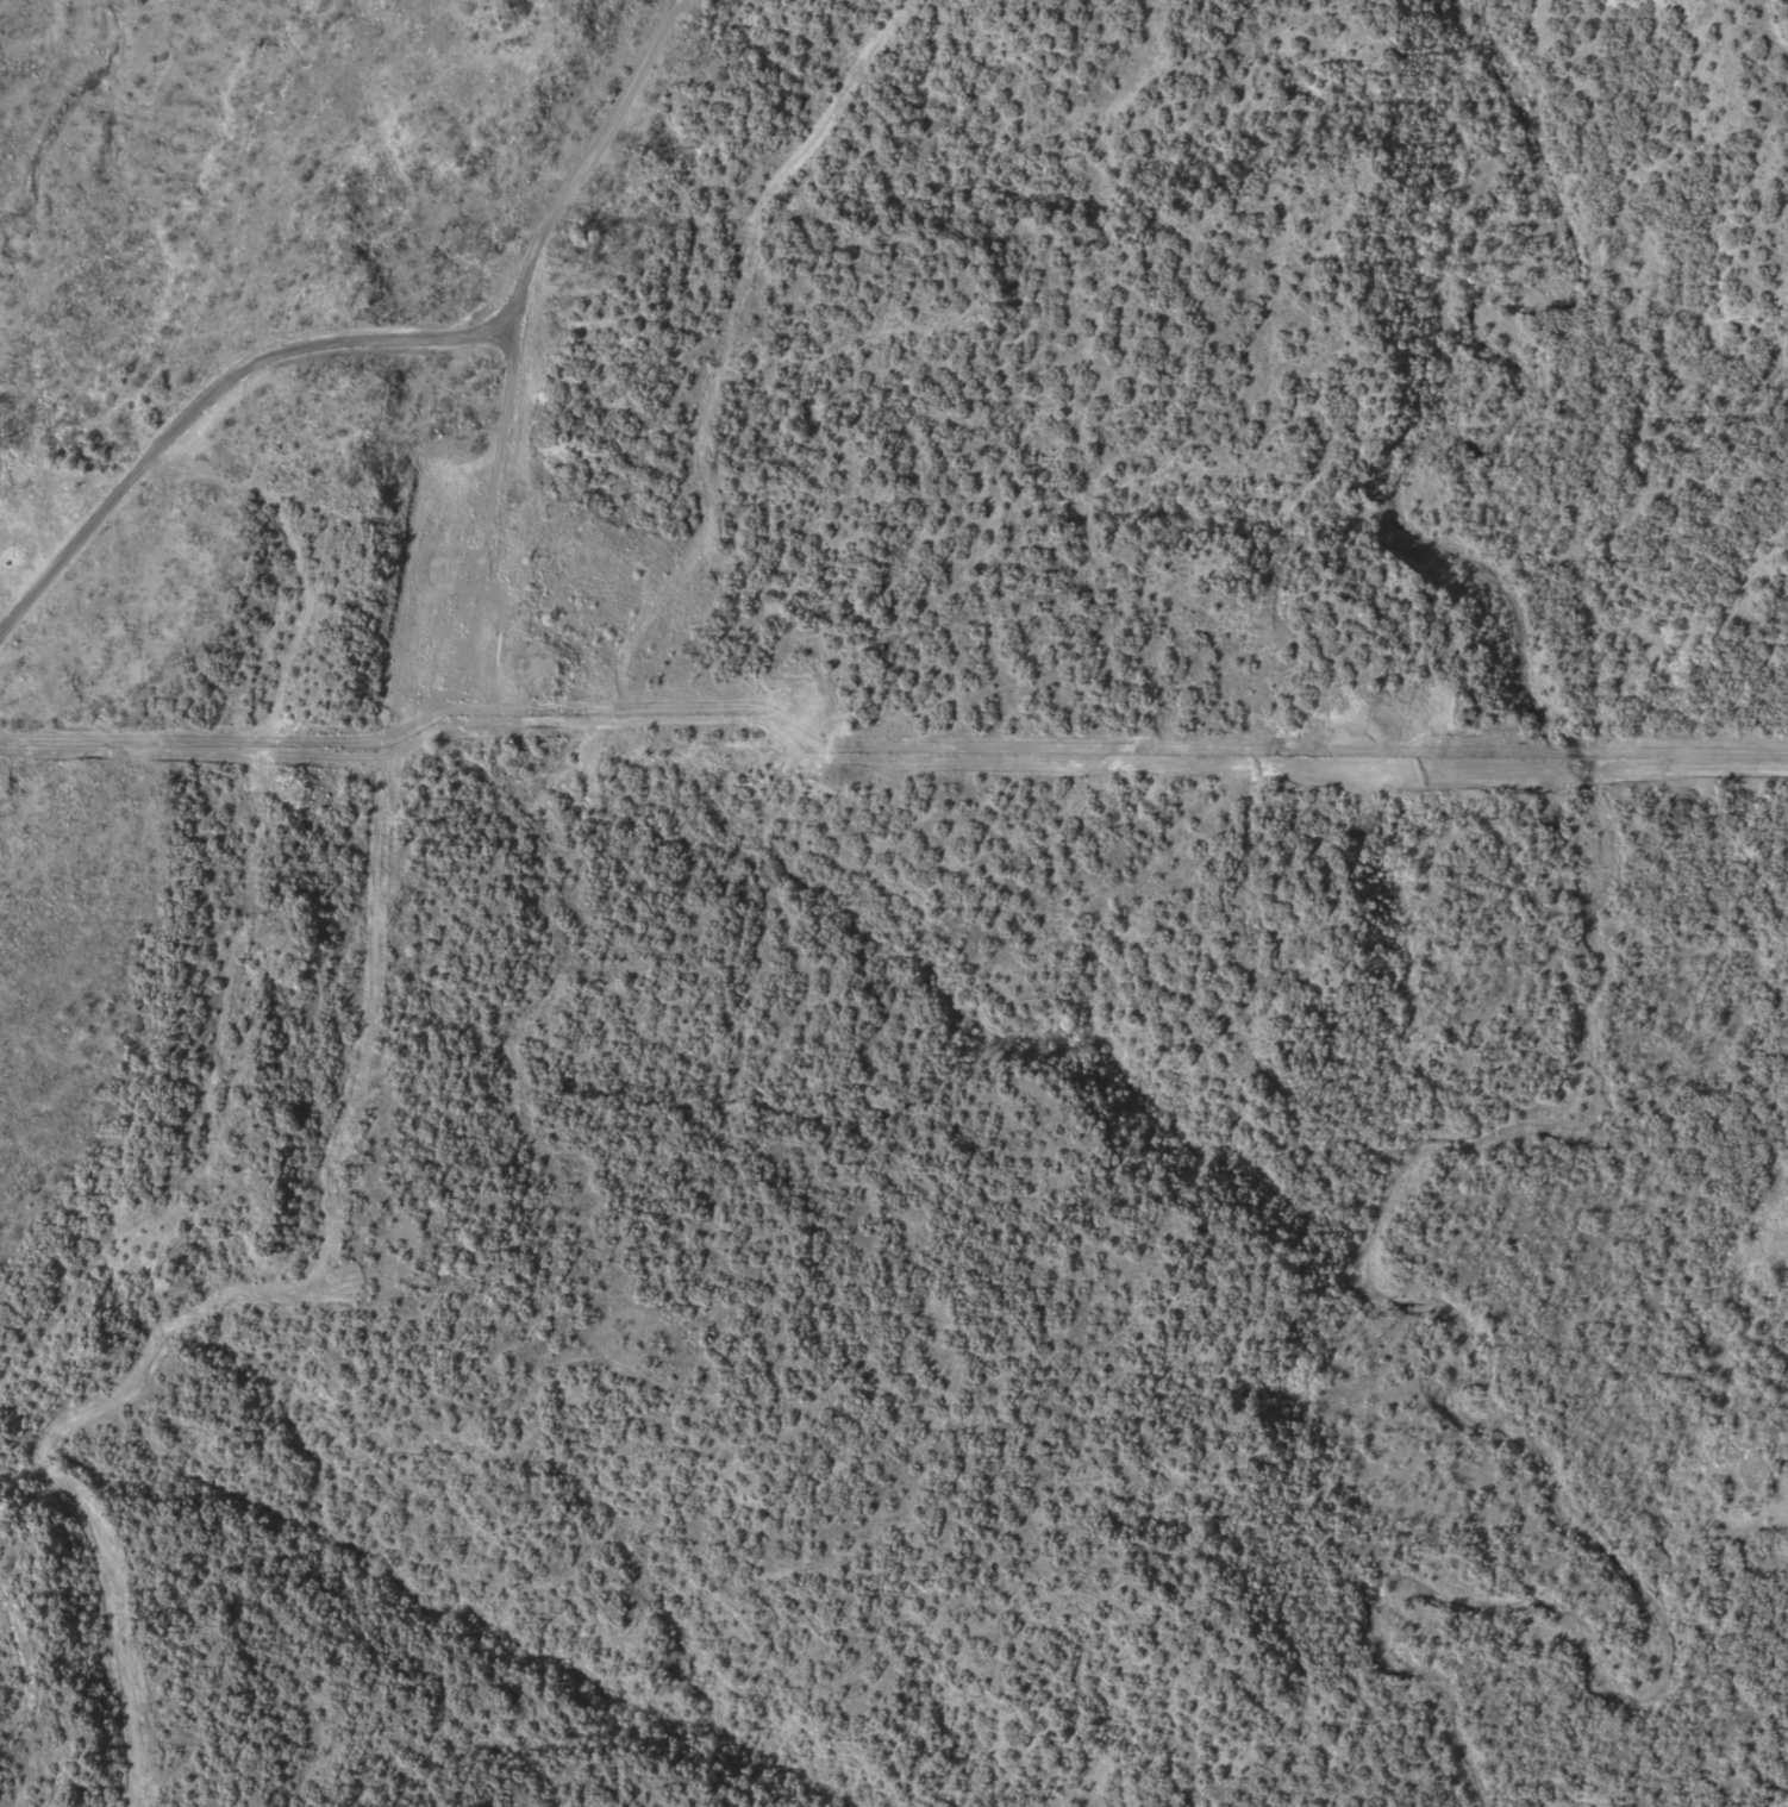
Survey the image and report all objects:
road: (332, 332)

